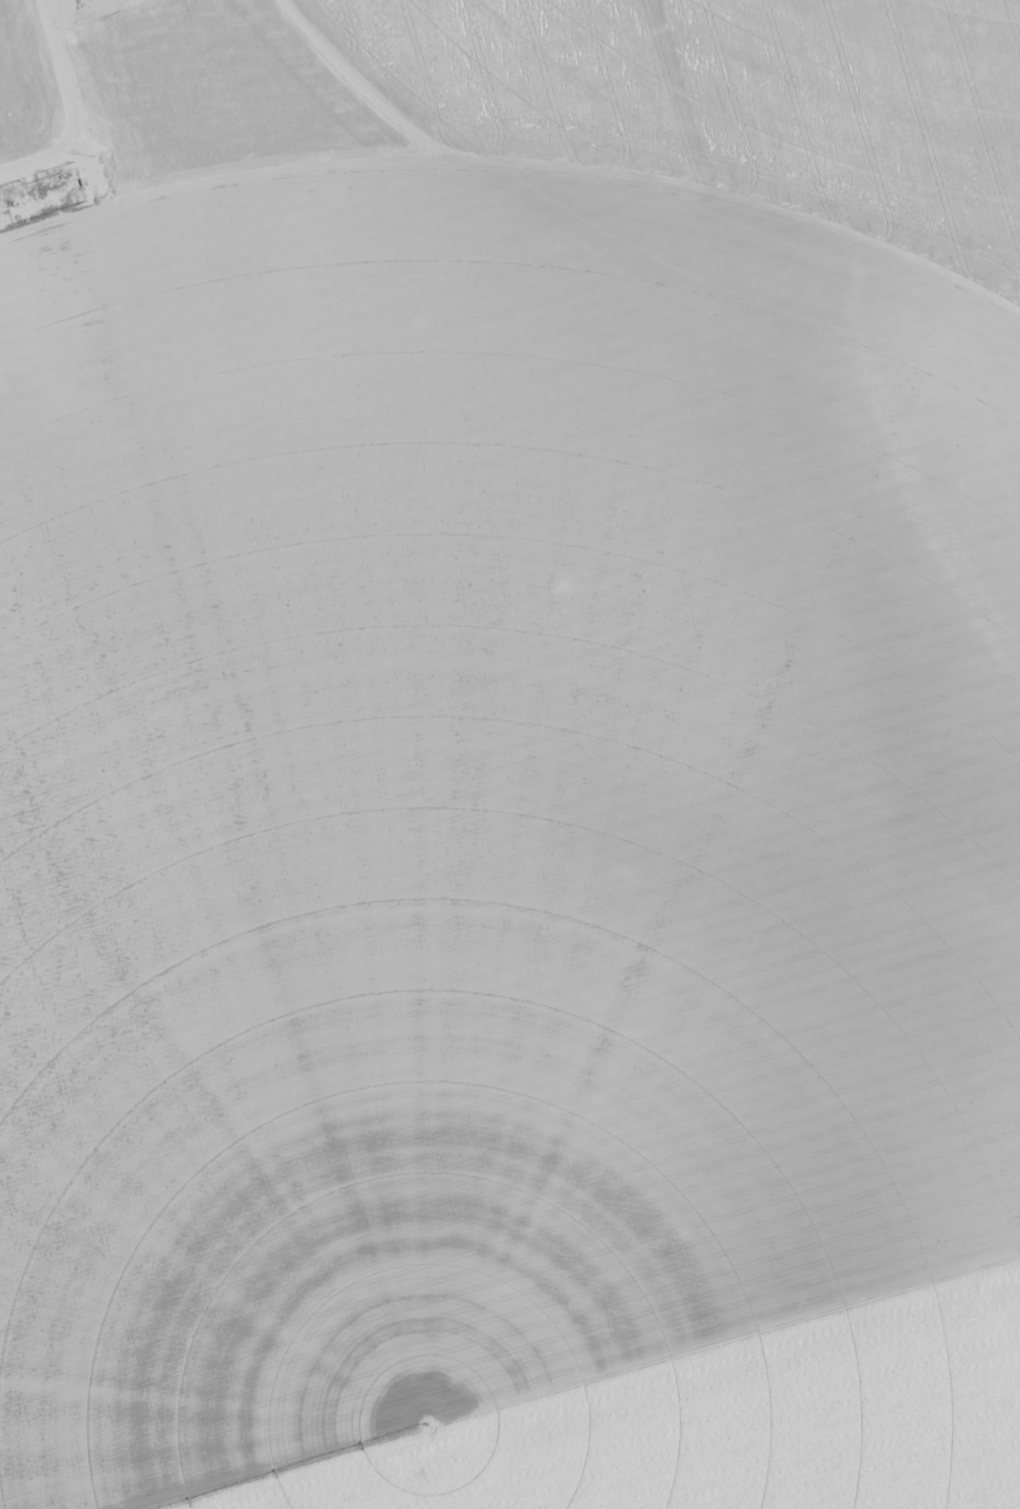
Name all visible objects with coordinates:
road: (83, 100)

